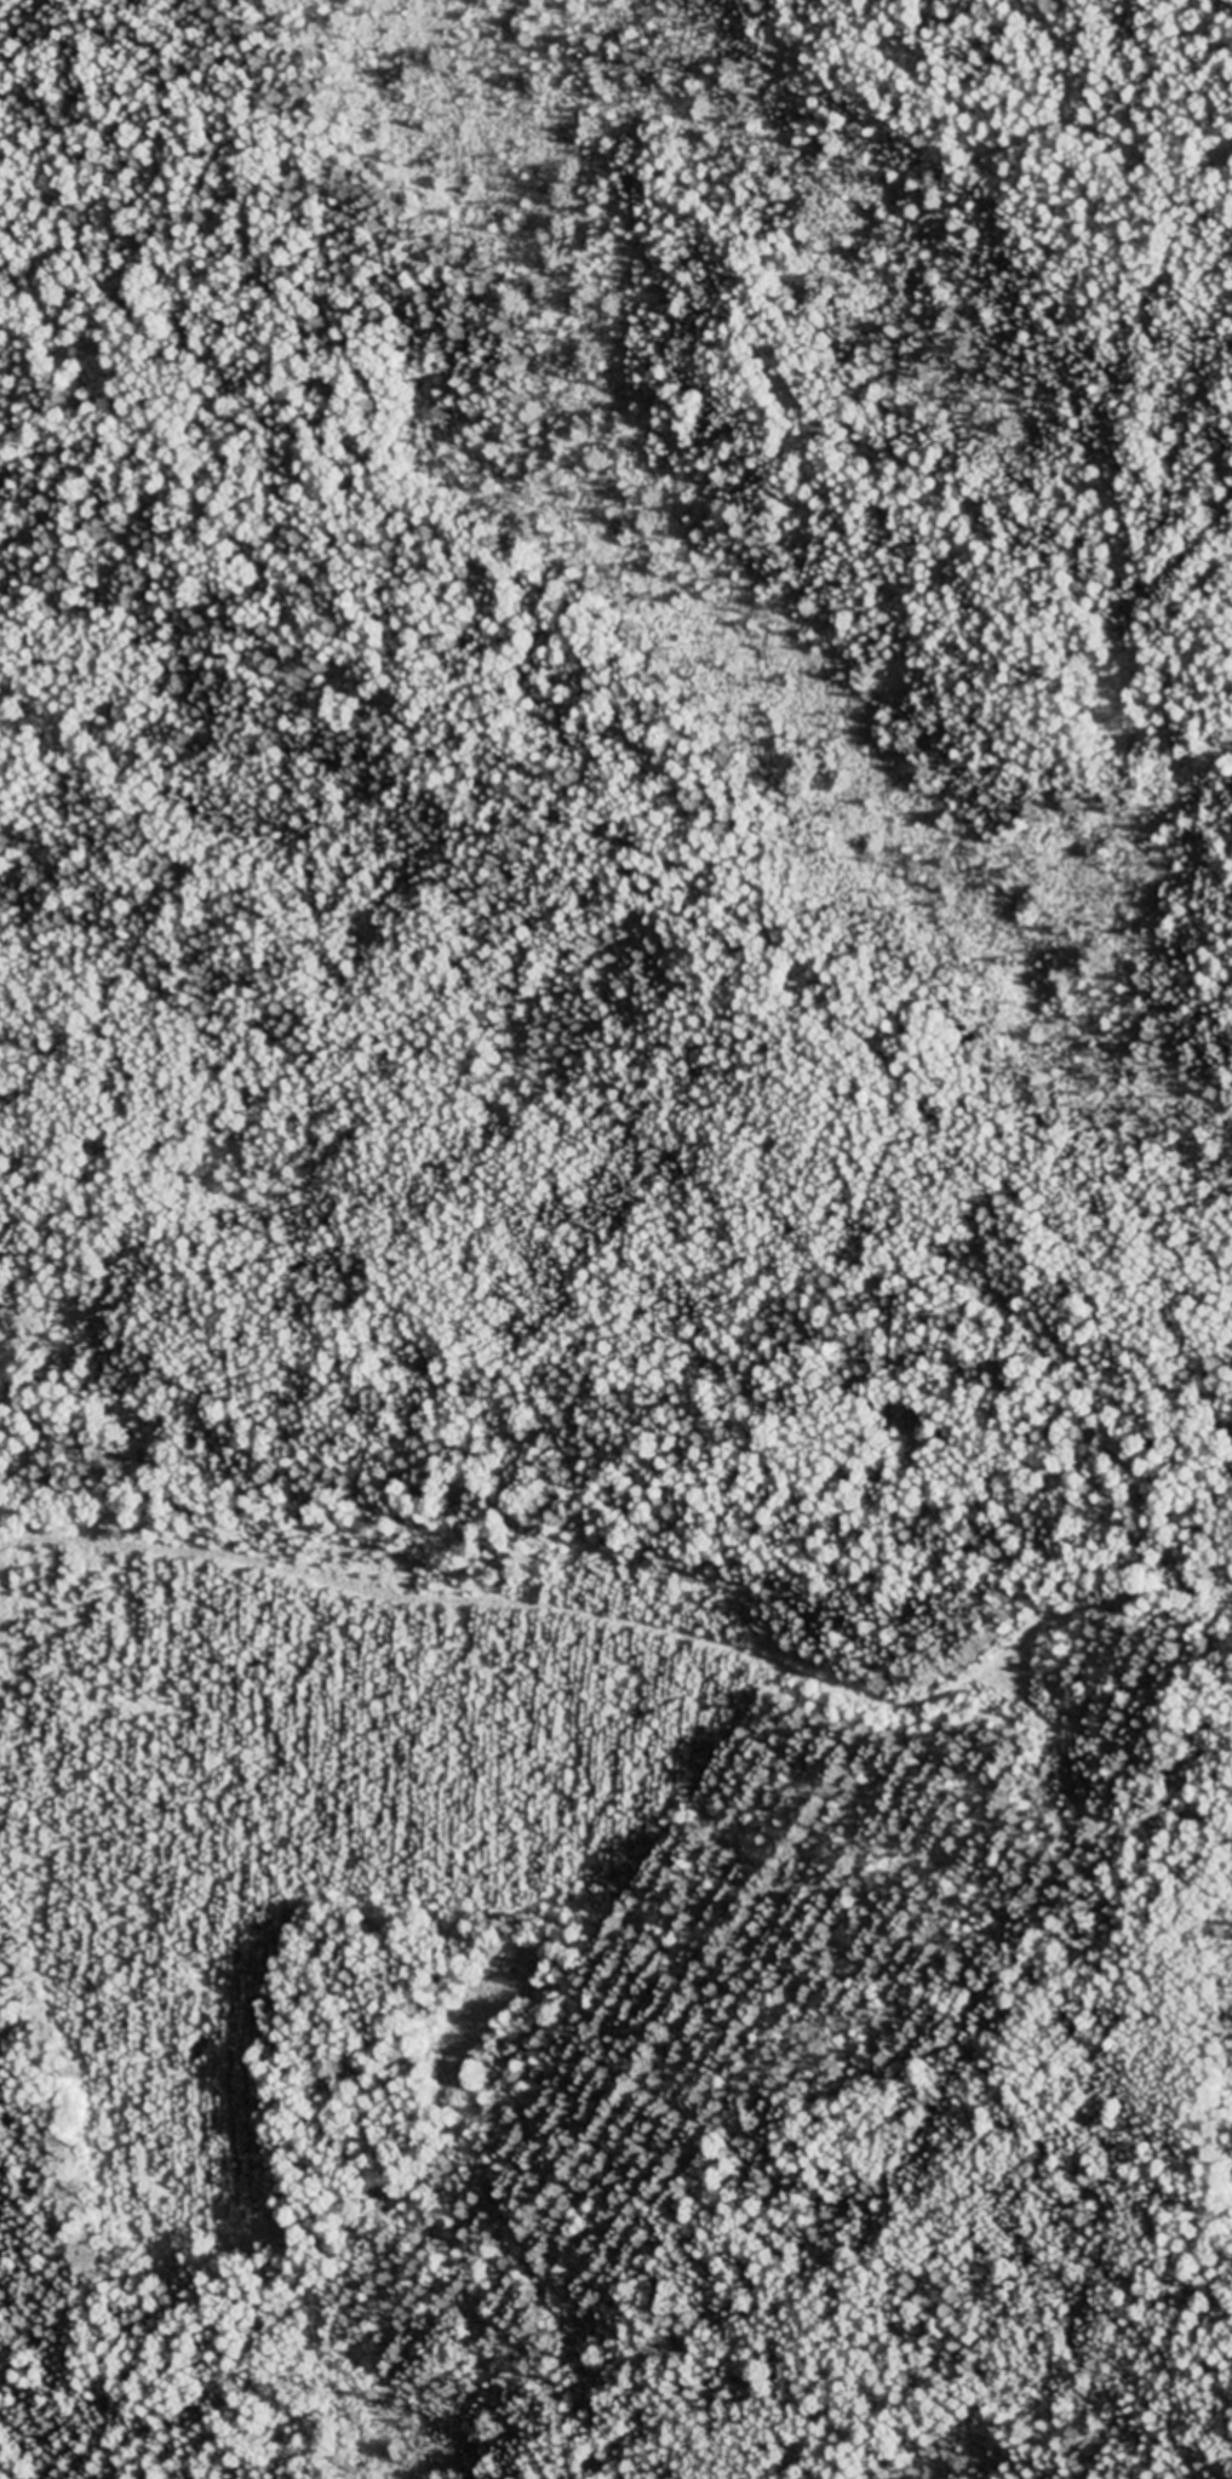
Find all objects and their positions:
road: (1167, 24)
road: (614, 762)
road: (618, 1624)

